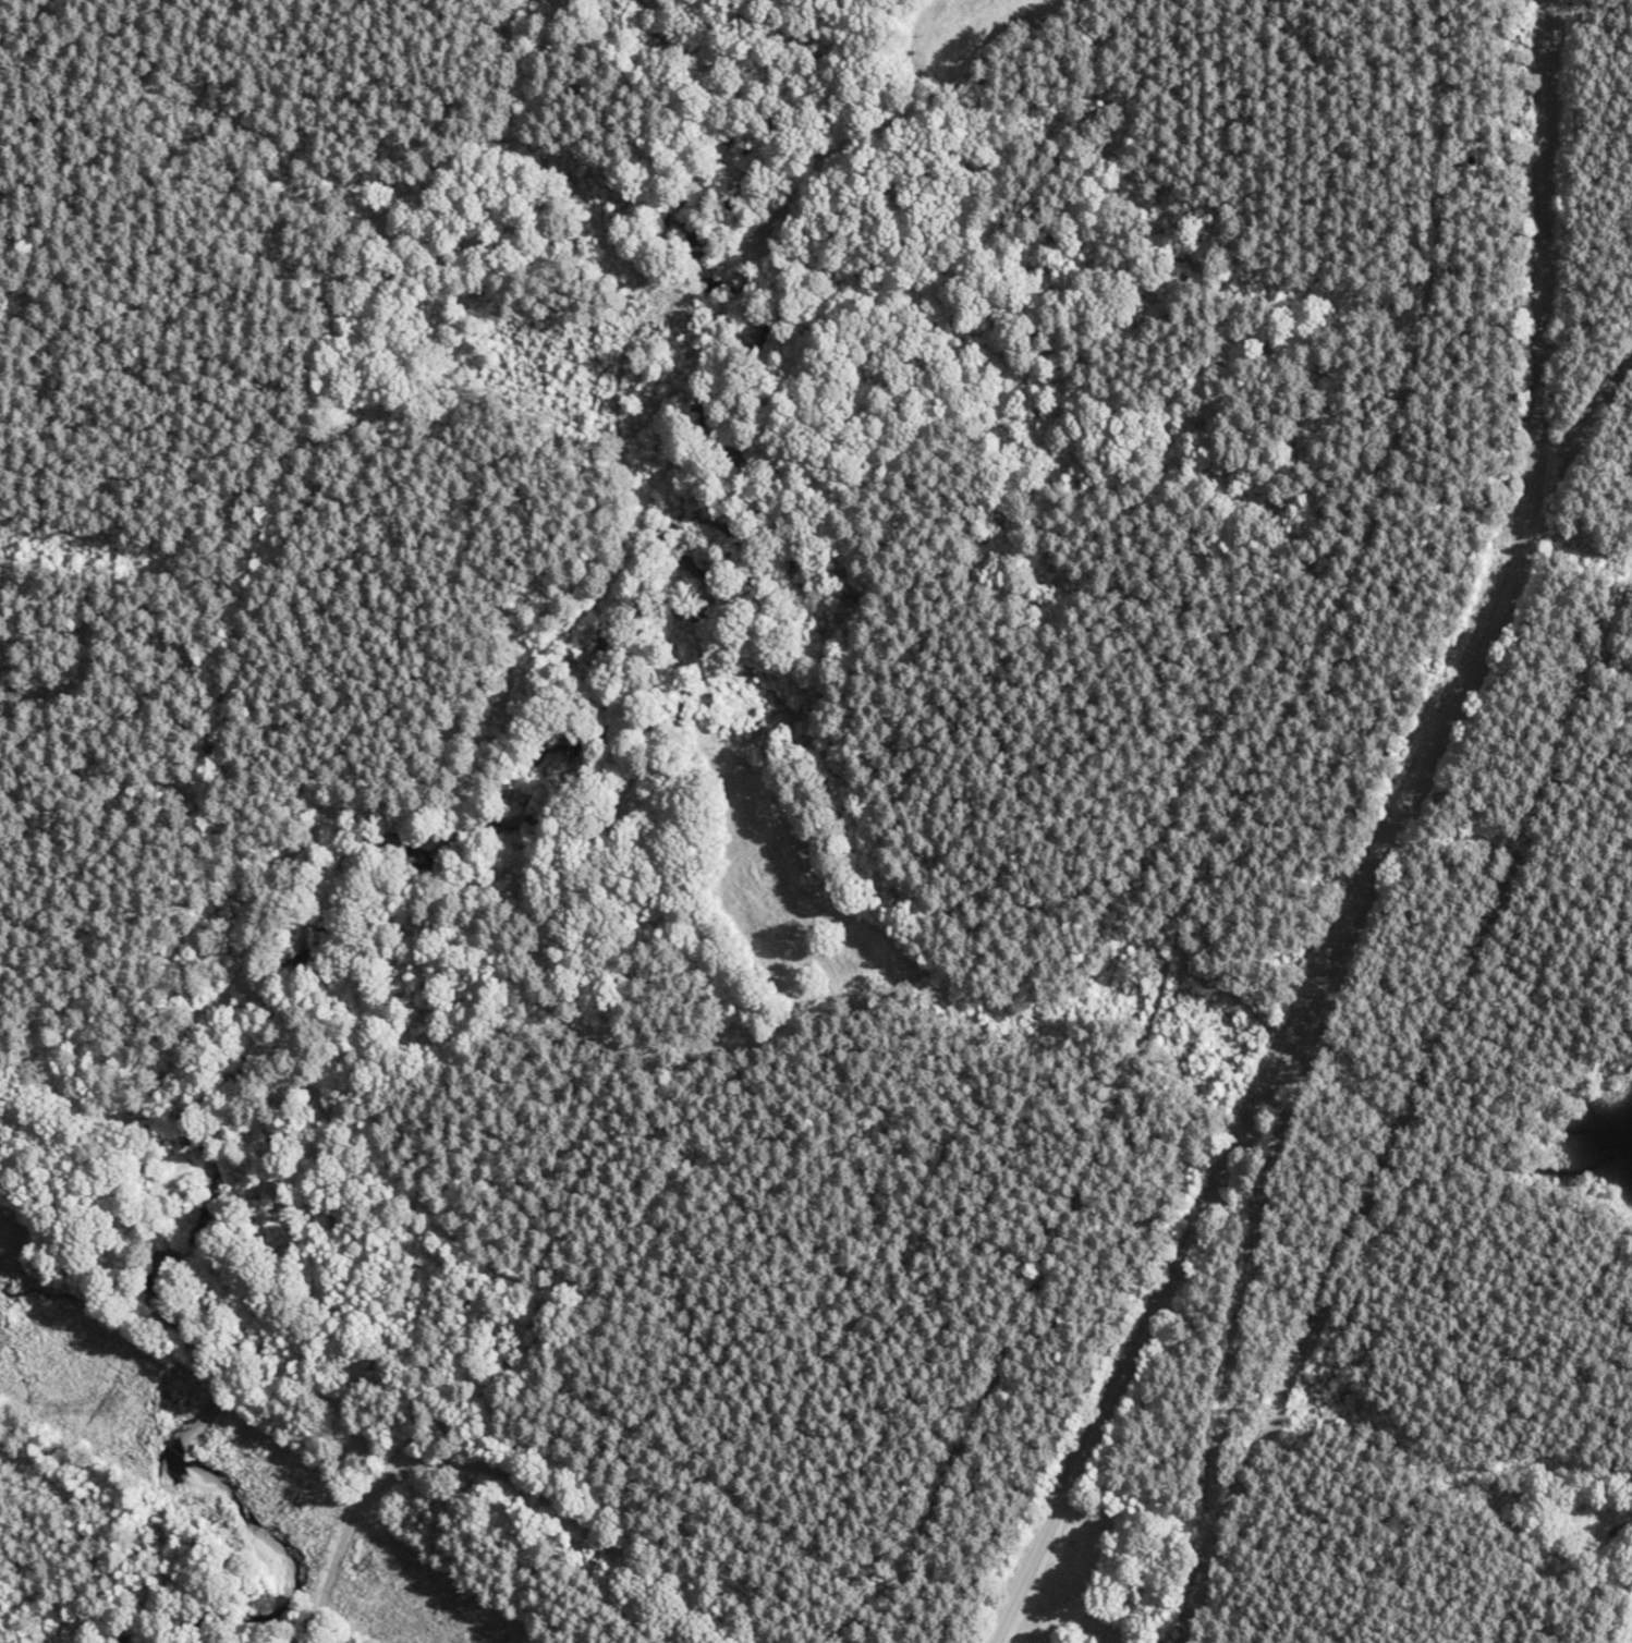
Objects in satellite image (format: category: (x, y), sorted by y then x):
road: (1329, 850)
power tower: (109, 1402)
road: (522, 1519)
road: (317, 1581)

